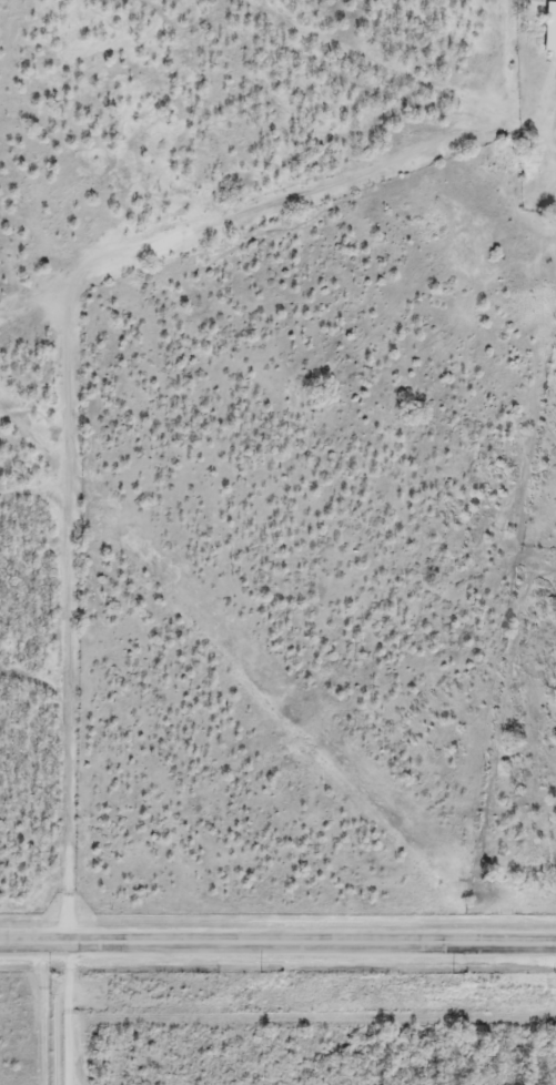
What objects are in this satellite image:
road: (84, 366)
road: (277, 943)
road: (44, 1013)
road: (72, 1014)

